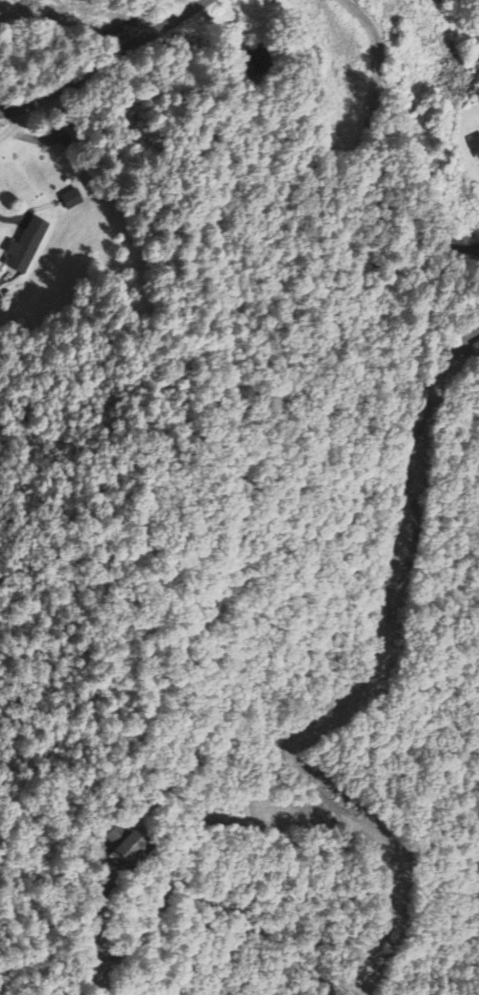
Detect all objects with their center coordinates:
road: (101, 58)
road: (411, 76)
road: (13, 122)
building: (475, 146)
building: (71, 199)
building: (25, 246)
building: (476, 347)
road: (115, 825)
building: (123, 845)

